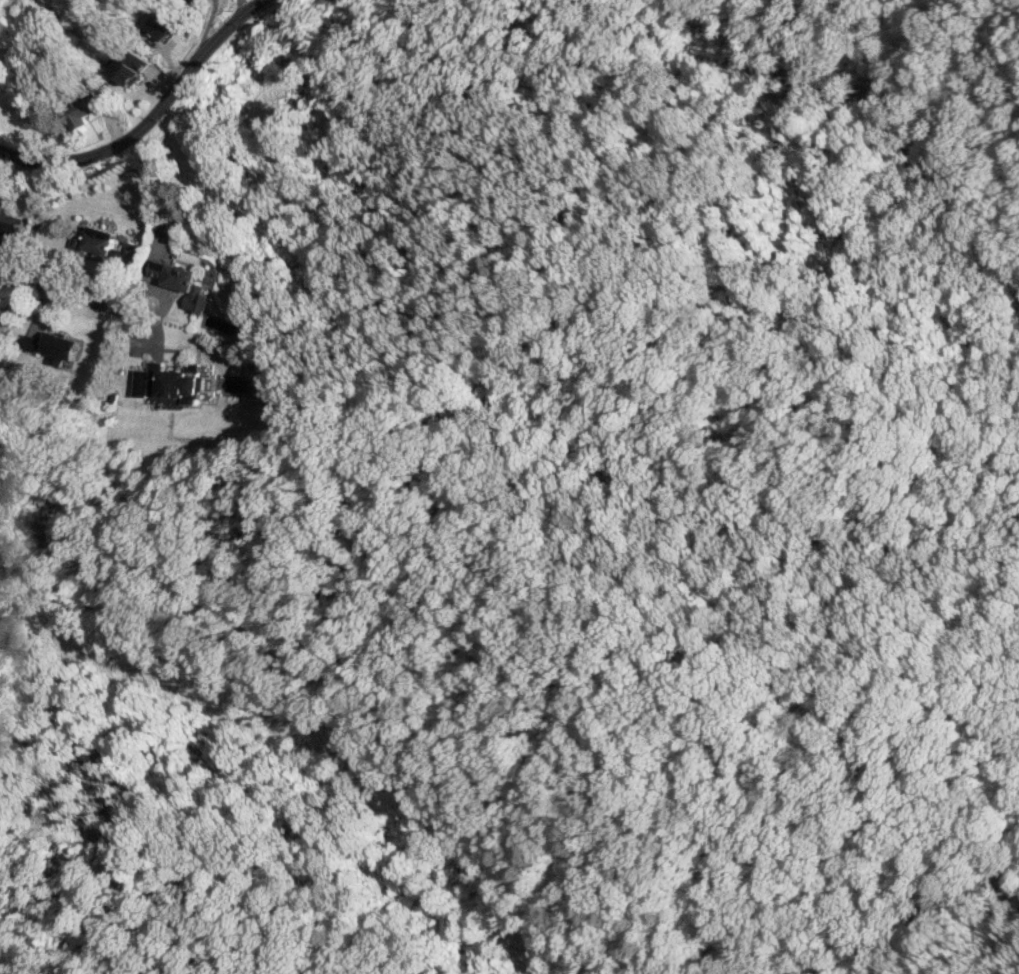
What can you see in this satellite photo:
building: (189, 1)
building: (160, 23)
building: (129, 65)
building: (80, 109)
road: (152, 114)
building: (98, 239)
building: (127, 251)
building: (179, 280)
road: (67, 289)
building: (60, 344)

